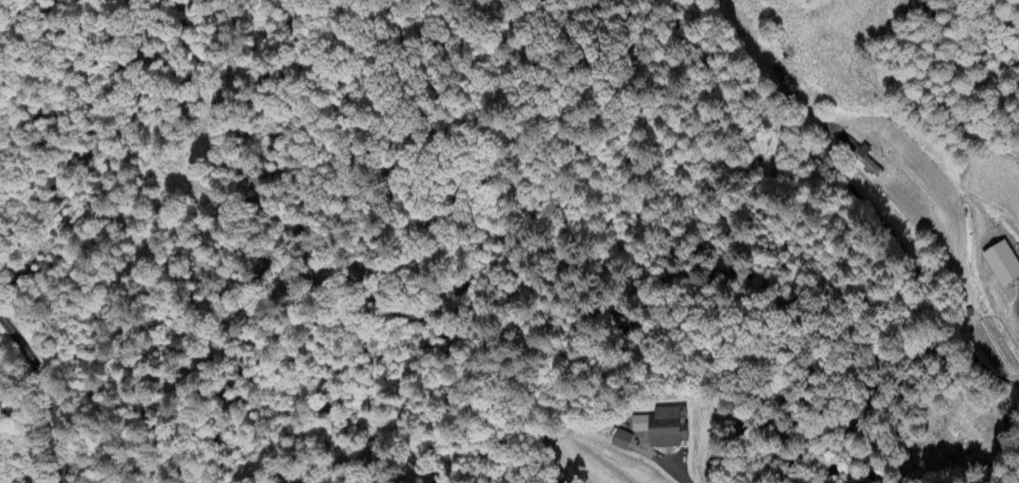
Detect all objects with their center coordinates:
building: (862, 157)
building: (1001, 264)
road: (1017, 308)
road: (45, 392)
building: (662, 427)
building: (621, 441)
road: (678, 476)
building: (35, 482)

